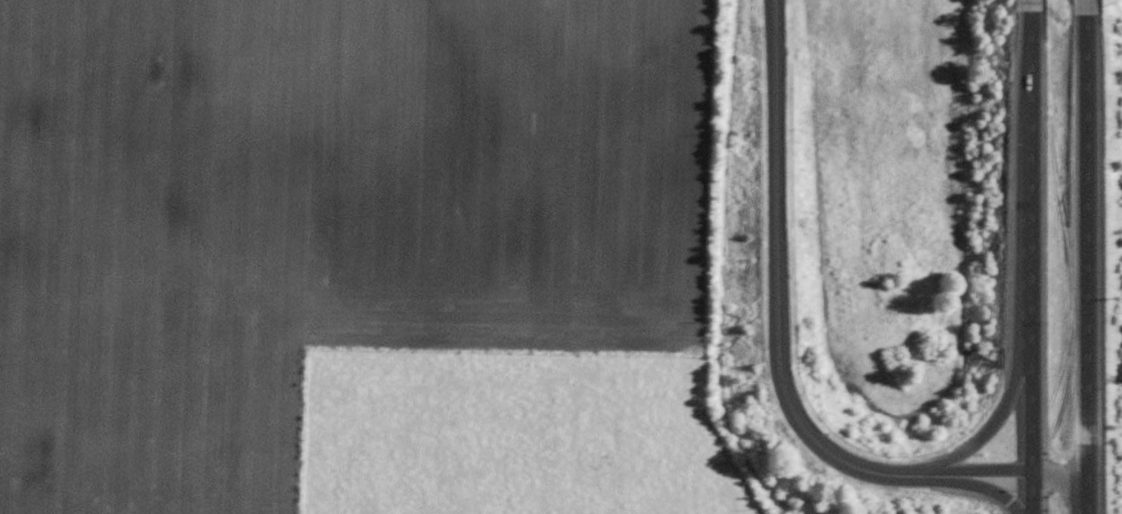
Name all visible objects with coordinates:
road: (1030, 2)
road: (1086, 4)
road: (1030, 259)
road: (1086, 261)
road: (775, 291)
road: (995, 418)
road: (1020, 468)
road: (983, 485)

